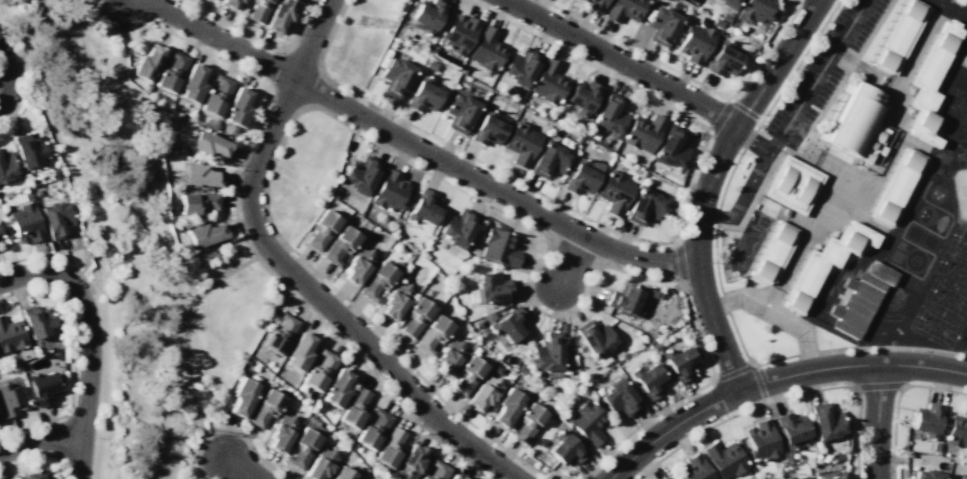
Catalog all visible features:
building: (584, 0)
building: (664, 0)
road: (795, 0)
building: (966, 0)
building: (693, 1)
building: (957, 2)
building: (229, 3)
building: (728, 3)
building: (596, 5)
building: (756, 9)
building: (258, 10)
building: (624, 10)
building: (280, 14)
building: (426, 16)
building: (724, 17)
power tower: (360, 20)
building: (717, 23)
building: (662, 25)
building: (458, 34)
building: (899, 36)
park: (360, 39)
road: (256, 40)
building: (695, 43)
building: (486, 50)
building: (724, 59)
road: (622, 61)
building: (147, 62)
road: (15, 63)
building: (429, 64)
building: (521, 66)
building: (171, 71)
building: (395, 76)
road: (687, 76)
road: (817, 76)
road: (7, 81)
building: (548, 82)
building: (928, 82)
building: (192, 83)
building: (424, 94)
building: (216, 95)
building: (583, 97)
building: (237, 107)
building: (460, 111)
road: (745, 111)
building: (609, 114)
road: (721, 117)
building: (856, 124)
building: (488, 127)
building: (643, 132)
building: (208, 143)
road: (407, 143)
building: (521, 143)
road: (775, 143)
building: (671, 146)
building: (29, 150)
road: (275, 157)
building: (549, 159)
building: (7, 166)
park: (304, 173)
building: (361, 174)
building: (199, 175)
building: (582, 175)
road: (751, 181)
road: (706, 184)
building: (792, 184)
building: (894, 185)
building: (335, 192)
building: (389, 192)
building: (614, 192)
building: (197, 203)
building: (643, 206)
building: (422, 210)
building: (56, 219)
building: (25, 223)
road: (163, 225)
road: (238, 226)
building: (458, 227)
building: (321, 229)
road: (93, 231)
building: (204, 234)
building: (0, 238)
road: (633, 238)
building: (339, 245)
building: (499, 246)
building: (772, 253)
road: (569, 261)
building: (822, 263)
road: (679, 264)
building: (357, 266)
road: (293, 273)
building: (879, 273)
road: (717, 276)
building: (376, 281)
building: (493, 287)
road: (583, 299)
building: (396, 300)
building: (624, 300)
building: (855, 304)
building: (415, 316)
road: (773, 316)
building: (38, 321)
building: (476, 323)
building: (505, 323)
road: (184, 331)
building: (279, 334)
building: (12, 335)
building: (431, 335)
building: (594, 337)
road: (91, 341)
building: (298, 351)
park: (966, 352)
building: (58, 354)
building: (549, 354)
road: (75, 357)
building: (448, 357)
road: (709, 359)
building: (678, 363)
building: (521, 368)
building: (319, 371)
road: (734, 373)
building: (466, 376)
road: (774, 378)
building: (648, 381)
road: (760, 384)
road: (878, 385)
building: (336, 387)
building: (44, 388)
building: (484, 393)
building: (242, 397)
building: (619, 398)
road: (781, 398)
building: (12, 400)
road: (897, 400)
building: (354, 407)
building: (507, 407)
building: (264, 408)
building: (928, 420)
building: (826, 421)
road: (876, 421)
building: (0, 422)
building: (587, 422)
building: (526, 423)
power tower: (181, 429)
building: (373, 429)
building: (791, 429)
road: (231, 430)
building: (281, 432)
building: (957, 432)
road: (40, 439)
building: (762, 440)
building: (935, 446)
building: (302, 448)
building: (389, 448)
building: (565, 448)
road: (40, 456)
building: (788, 457)
building: (838, 457)
building: (724, 459)
building: (410, 462)
building: (320, 464)
road: (241, 466)
building: (694, 469)
building: (436, 470)
building: (342, 473)
building: (929, 474)
building: (35, 475)
building: (829, 475)
building: (455, 476)
building: (791, 477)
building: (803, 477)
building: (662, 478)

